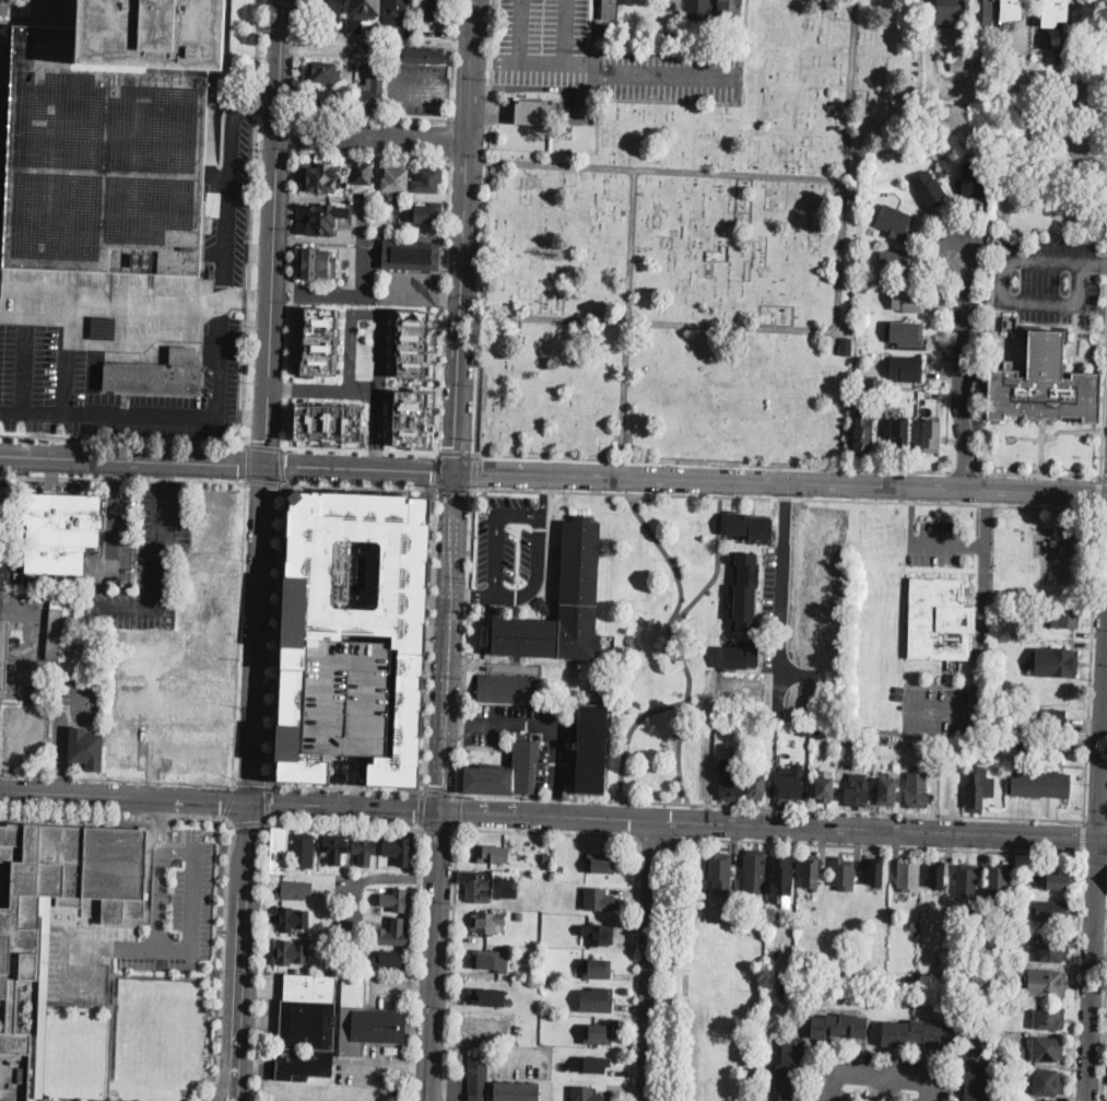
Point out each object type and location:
building: (673, 4)
building: (610, 9)
building: (698, 9)
building: (730, 9)
building: (1011, 9)
building: (434, 10)
building: (328, 11)
building: (951, 11)
building: (1055, 11)
building: (396, 12)
building: (984, 12)
building: (362, 13)
building: (610, 23)
road: (522, 30)
road: (565, 31)
building: (410, 32)
building: (608, 34)
building: (668, 36)
building: (376, 47)
building: (421, 55)
parking lot: (599, 56)
road: (299, 57)
road: (454, 60)
road: (485, 60)
building: (958, 63)
road: (615, 70)
building: (322, 72)
parking lot: (417, 89)
road: (420, 89)
road: (849, 89)
road: (457, 90)
building: (372, 93)
building: (325, 98)
road: (255, 103)
building: (533, 113)
parking lot: (2, 117)
road: (374, 117)
building: (953, 119)
building: (568, 129)
building: (557, 130)
road: (297, 133)
building: (113, 138)
road: (373, 138)
road: (449, 140)
road: (372, 156)
building: (873, 161)
building: (318, 176)
building: (362, 176)
building: (427, 178)
building: (394, 180)
building: (973, 181)
building: (928, 189)
building: (855, 190)
building: (853, 200)
building: (869, 200)
parking lot: (229, 201)
building: (426, 212)
building: (325, 219)
road: (251, 221)
building: (896, 221)
road: (484, 226)
building: (1039, 231)
road: (275, 232)
road: (463, 235)
road: (840, 250)
building: (410, 253)
park: (695, 257)
building: (864, 257)
building: (895, 262)
building: (319, 263)
road: (1099, 263)
parking lot: (410, 289)
road: (291, 300)
road: (409, 300)
building: (909, 300)
road: (1003, 301)
road: (446, 302)
road: (146, 303)
road: (443, 306)
road: (627, 313)
road: (69, 314)
road: (34, 316)
building: (1010, 323)
building: (104, 326)
road: (380, 333)
building: (907, 333)
building: (320, 341)
road: (222, 342)
building: (412, 342)
building: (846, 347)
parking lot: (120, 351)
road: (25, 362)
parking lot: (368, 366)
road: (961, 367)
building: (905, 368)
building: (158, 375)
building: (1045, 385)
road: (323, 389)
building: (876, 397)
road: (1104, 398)
road: (32, 409)
building: (409, 417)
building: (328, 421)
road: (1071, 430)
building: (863, 432)
building: (899, 433)
road: (1026, 436)
building: (930, 437)
road: (122, 438)
road: (263, 445)
road: (1041, 446)
road: (360, 449)
road: (457, 453)
road: (132, 459)
road: (245, 462)
road: (713, 462)
road: (282, 465)
road: (360, 467)
road: (437, 469)
road: (474, 469)
road: (117, 472)
road: (966, 472)
road: (166, 473)
road: (1040, 476)
road: (122, 478)
road: (1104, 478)
road: (780, 481)
road: (263, 482)
road: (360, 485)
road: (544, 485)
road: (455, 488)
road: (1099, 492)
road: (785, 497)
building: (4, 503)
road: (1103, 508)
building: (64, 519)
road: (497, 522)
building: (750, 527)
road: (115, 530)
parking lot: (510, 547)
road: (666, 552)
parking lot: (179, 561)
building: (4, 571)
road: (161, 575)
road: (785, 577)
building: (746, 590)
road: (528, 592)
building: (561, 605)
building: (1065, 617)
building: (355, 618)
building: (939, 618)
road: (238, 632)
road: (258, 634)
building: (62, 635)
road: (275, 635)
road: (26, 636)
road: (429, 639)
parking lot: (26, 640)
road: (466, 640)
road: (447, 641)
park: (666, 648)
building: (2, 651)
building: (741, 656)
road: (683, 657)
road: (195, 658)
road: (268, 661)
road: (294, 663)
building: (1057, 663)
road: (1090, 664)
building: (508, 689)
building: (349, 698)
parking lot: (349, 698)
parking lot: (170, 702)
road: (172, 702)
parking lot: (73, 708)
building: (1044, 718)
road: (545, 723)
building: (735, 727)
building: (756, 727)
road: (152, 728)
building: (804, 729)
parking lot: (23, 730)
building: (815, 730)
road: (59, 736)
building: (879, 738)
building: (853, 740)
building: (862, 740)
road: (1102, 740)
road: (170, 746)
building: (85, 748)
building: (591, 749)
road: (680, 750)
building: (857, 765)
building: (504, 771)
road: (117, 777)
building: (732, 781)
building: (790, 784)
building: (826, 784)
road: (250, 785)
building: (756, 785)
building: (1041, 785)
building: (914, 787)
road: (344, 788)
building: (979, 789)
road: (440, 790)
building: (857, 790)
building: (888, 790)
road: (126, 799)
road: (227, 800)
road: (267, 803)
road: (769, 807)
road: (163, 808)
road: (346, 808)
road: (422, 809)
road: (459, 811)
road: (75, 812)
road: (166, 816)
road: (547, 816)
road: (207, 817)
road: (679, 819)
road: (1094, 820)
road: (636, 821)
road: (249, 822)
road: (344, 824)
road: (438, 829)
road: (875, 830)
road: (546, 832)
road: (1082, 838)
road: (1102, 839)
road: (655, 841)
building: (543, 842)
road: (878, 845)
building: (334, 847)
building: (364, 850)
building: (279, 851)
building: (303, 851)
building: (399, 851)
building: (493, 853)
road: (1094, 856)
building: (547, 857)
building: (601, 863)
building: (558, 867)
building: (720, 867)
building: (872, 869)
building: (755, 871)
building: (811, 874)
building: (844, 874)
building: (937, 875)
building: (908, 876)
road: (399, 878)
building: (782, 878)
building: (998, 879)
building: (1059, 880)
building: (966, 881)
building: (488, 885)
building: (294, 890)
building: (61, 895)
road: (196, 899)
building: (600, 899)
building: (396, 900)
parking lot: (173, 909)
building: (45, 911)
road: (356, 911)
building: (1052, 911)
road: (1100, 911)
building: (728, 914)
building: (519, 915)
building: (291, 920)
building: (486, 922)
building: (914, 925)
building: (392, 933)
building: (599, 934)
road: (123, 948)
building: (1050, 948)
road: (245, 952)
building: (290, 952)
road: (435, 957)
building: (486, 958)
road: (261, 960)
building: (389, 961)
road: (649, 961)
road: (223, 963)
road: (415, 964)
road: (450, 965)
building: (597, 968)
road: (670, 968)
road: (1093, 969)
road: (633, 971)
building: (1001, 973)
road: (1076, 977)
building: (934, 979)
building: (1048, 984)
building: (310, 988)
park: (728, 989)
building: (490, 996)
building: (597, 999)
building: (1048, 1018)
building: (366, 1021)
building: (307, 1026)
building: (839, 1026)
building: (481, 1028)
building: (598, 1034)
building: (917, 1034)
building: (968, 1036)
building: (1004, 1041)
road: (1105, 1041)
building: (1046, 1050)
road: (879, 1052)
building: (1009, 1055)
parking lot: (523, 1059)
building: (596, 1064)
building: (302, 1065)
building: (789, 1069)
building: (1008, 1073)
building: (478, 1077)
parking lot: (881, 1077)
building: (975, 1077)
road: (878, 1078)
parking lot: (353, 1080)
building: (1047, 1082)
road: (351, 1092)
building: (516, 1092)
building: (587, 1094)
building: (1045, 1100)

